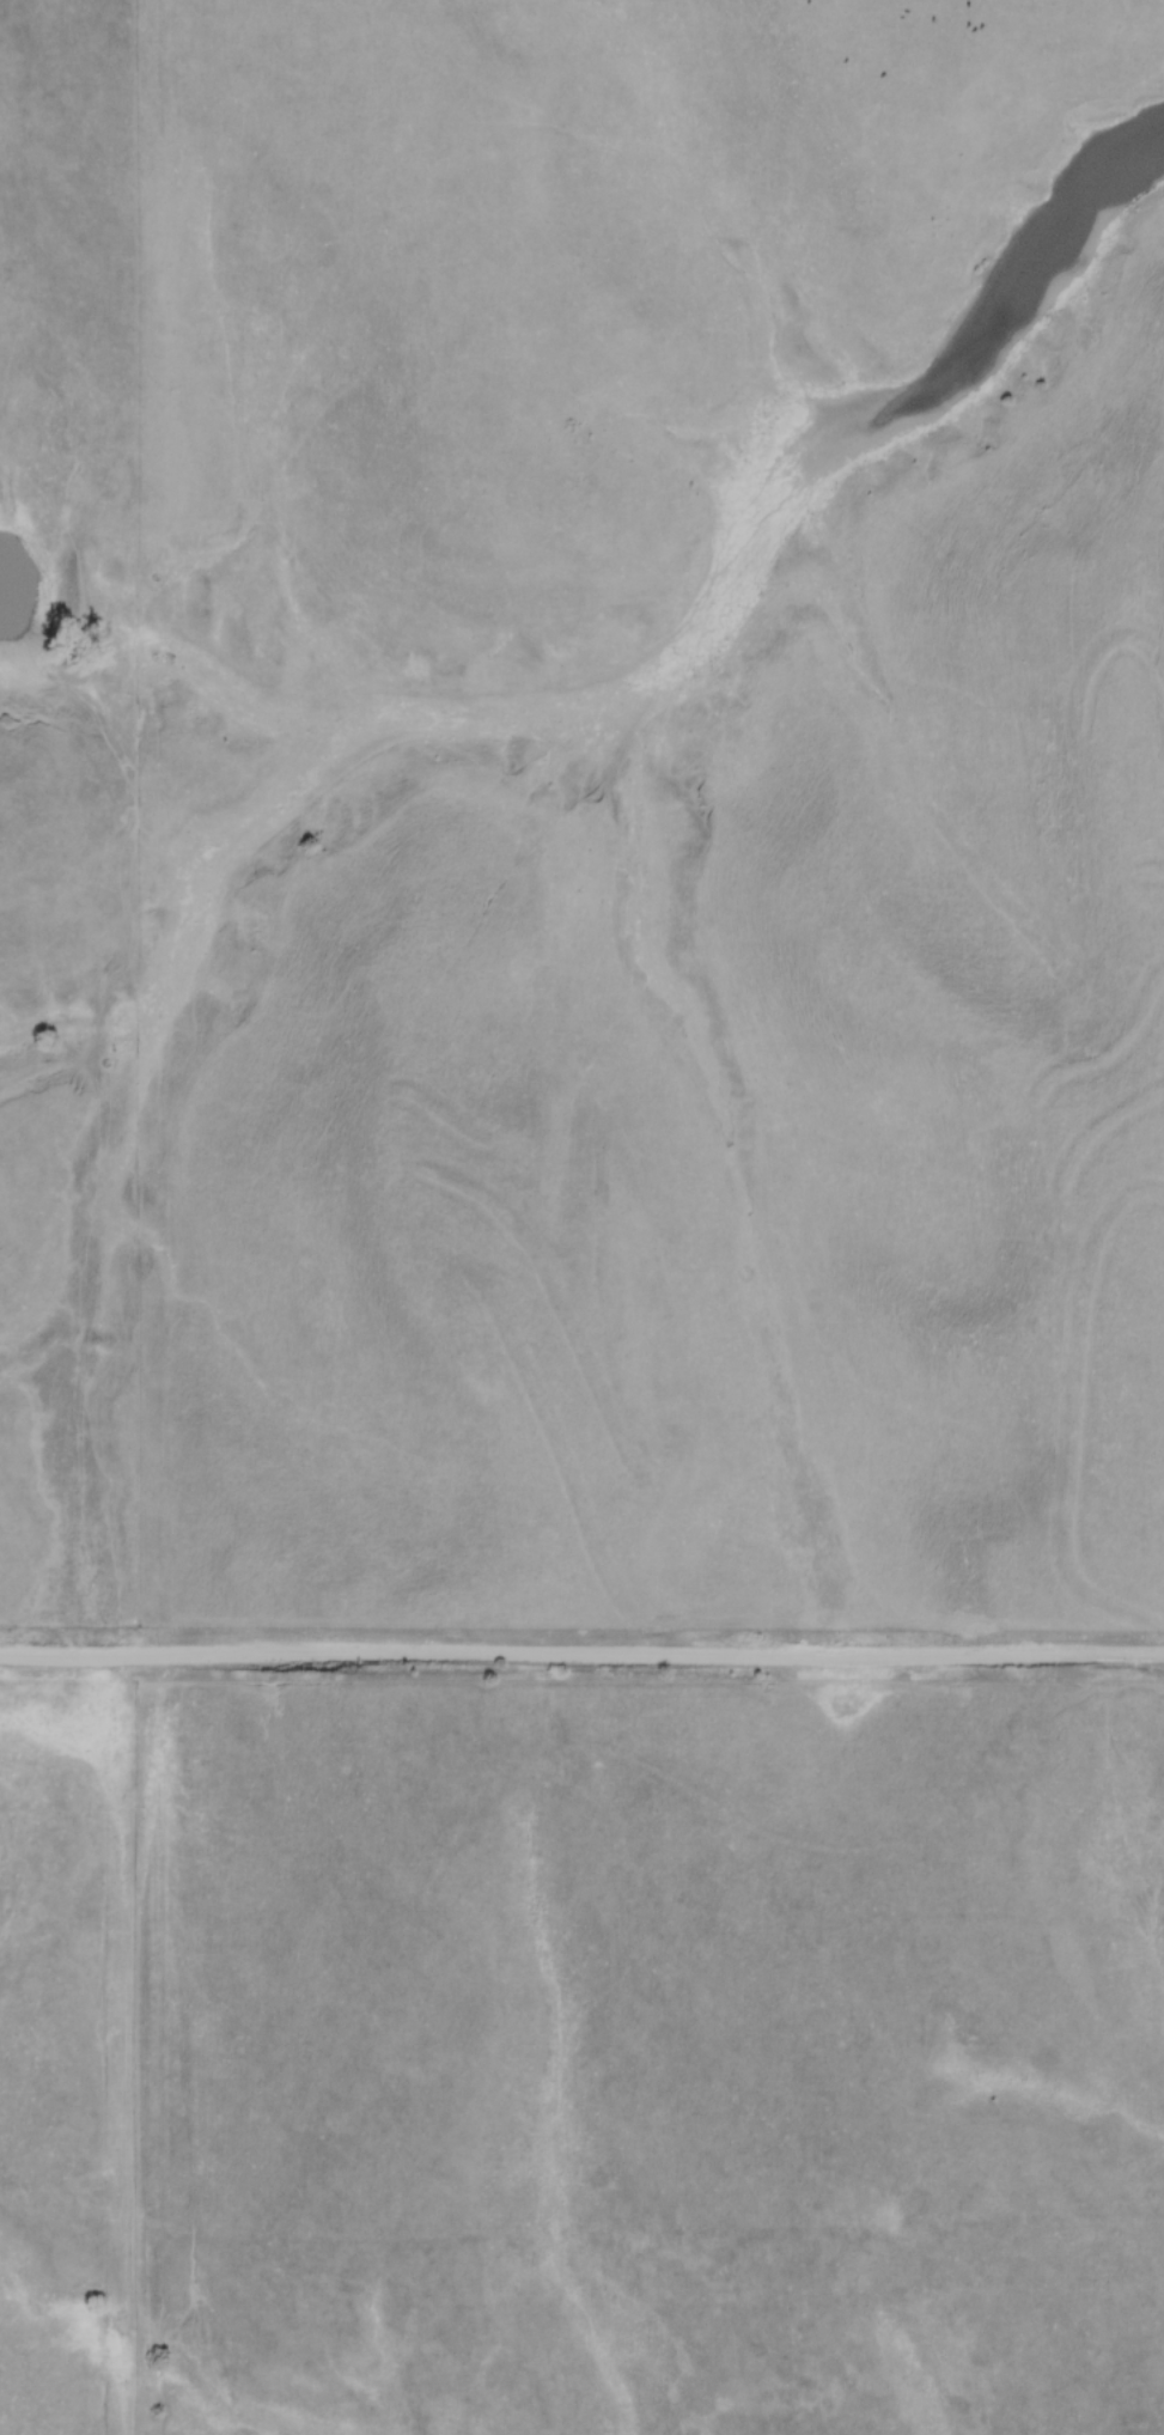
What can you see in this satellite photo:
road: (581, 1654)

